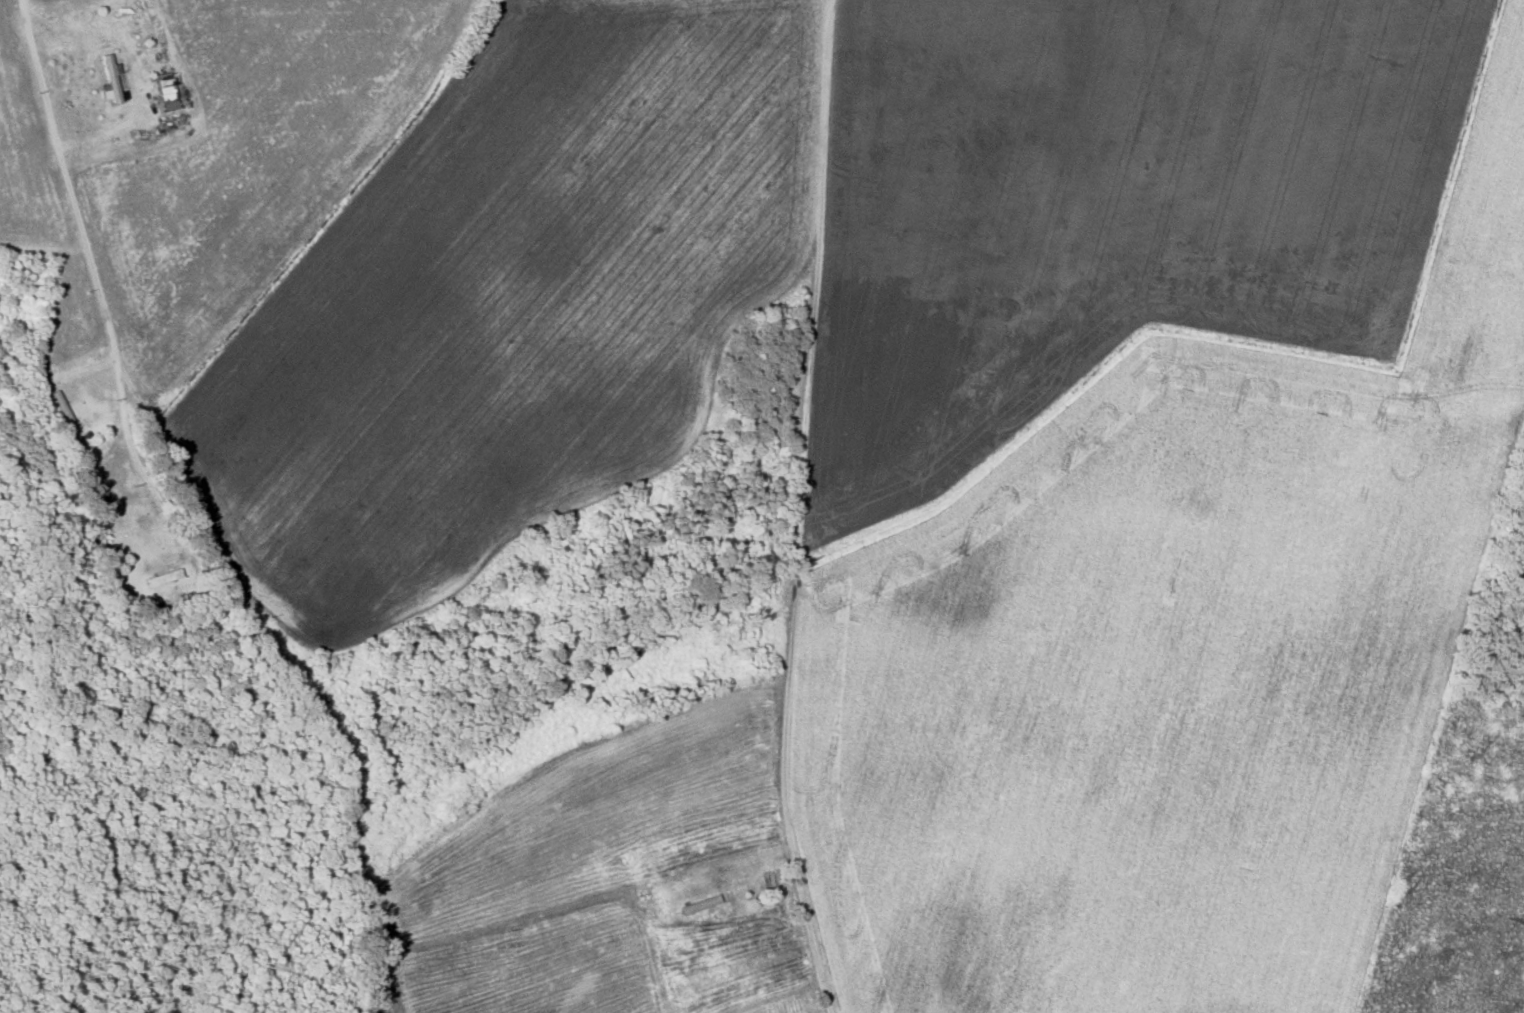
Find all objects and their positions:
building: (111, 77)
building: (166, 91)
building: (163, 577)

